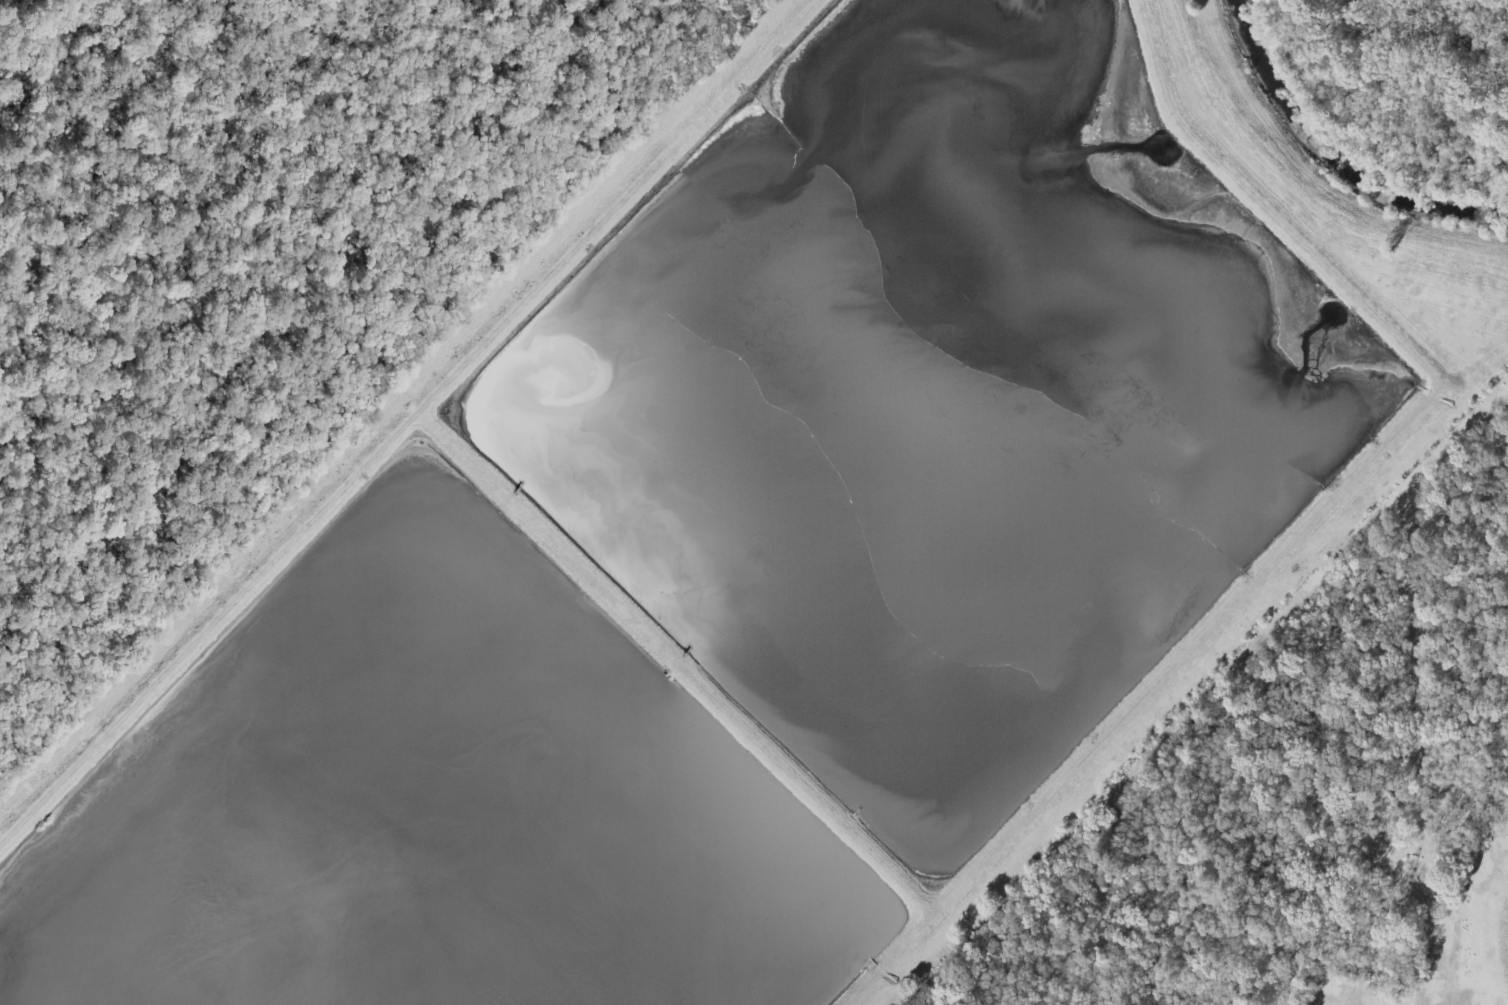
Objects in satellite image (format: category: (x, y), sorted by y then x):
river: (1332, 159)
road: (1462, 982)

